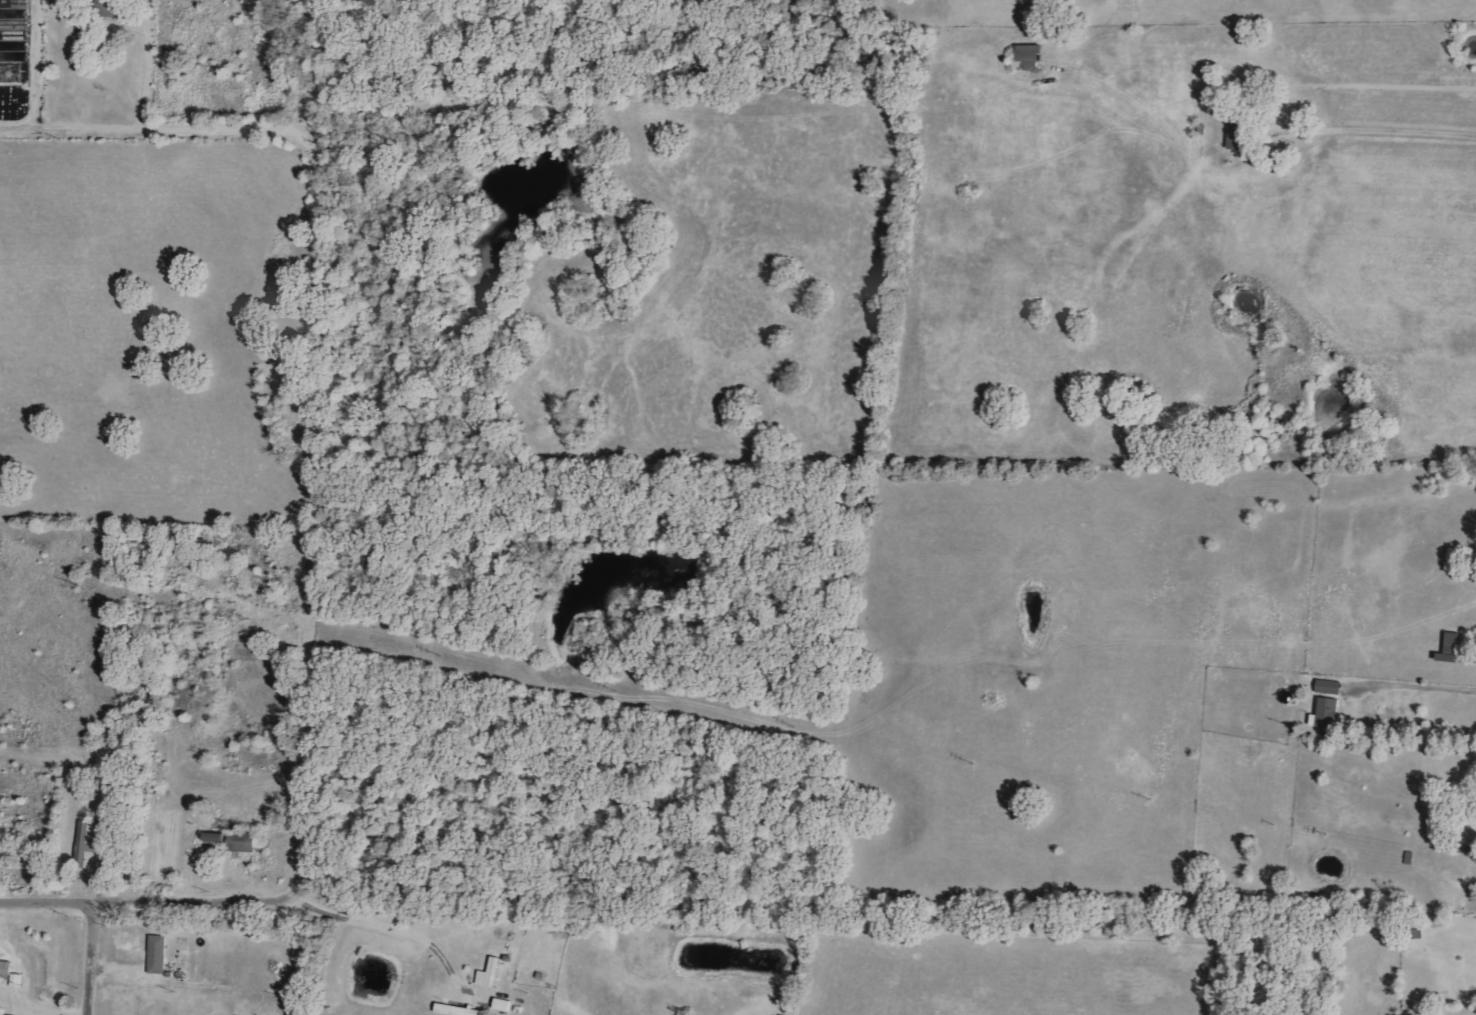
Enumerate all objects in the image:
building: (13, 39)
building: (1032, 57)
road: (70, 124)
building: (1241, 132)
road: (1391, 144)
road: (303, 466)
building: (1453, 648)
road: (1412, 684)
building: (1330, 687)
building: (1328, 713)
building: (217, 837)
building: (1468, 837)
building: (247, 841)
building: (85, 842)
road: (47, 900)
road: (385, 925)
building: (159, 954)
road: (91, 958)
building: (6, 968)
building: (504, 1005)
building: (458, 1010)

